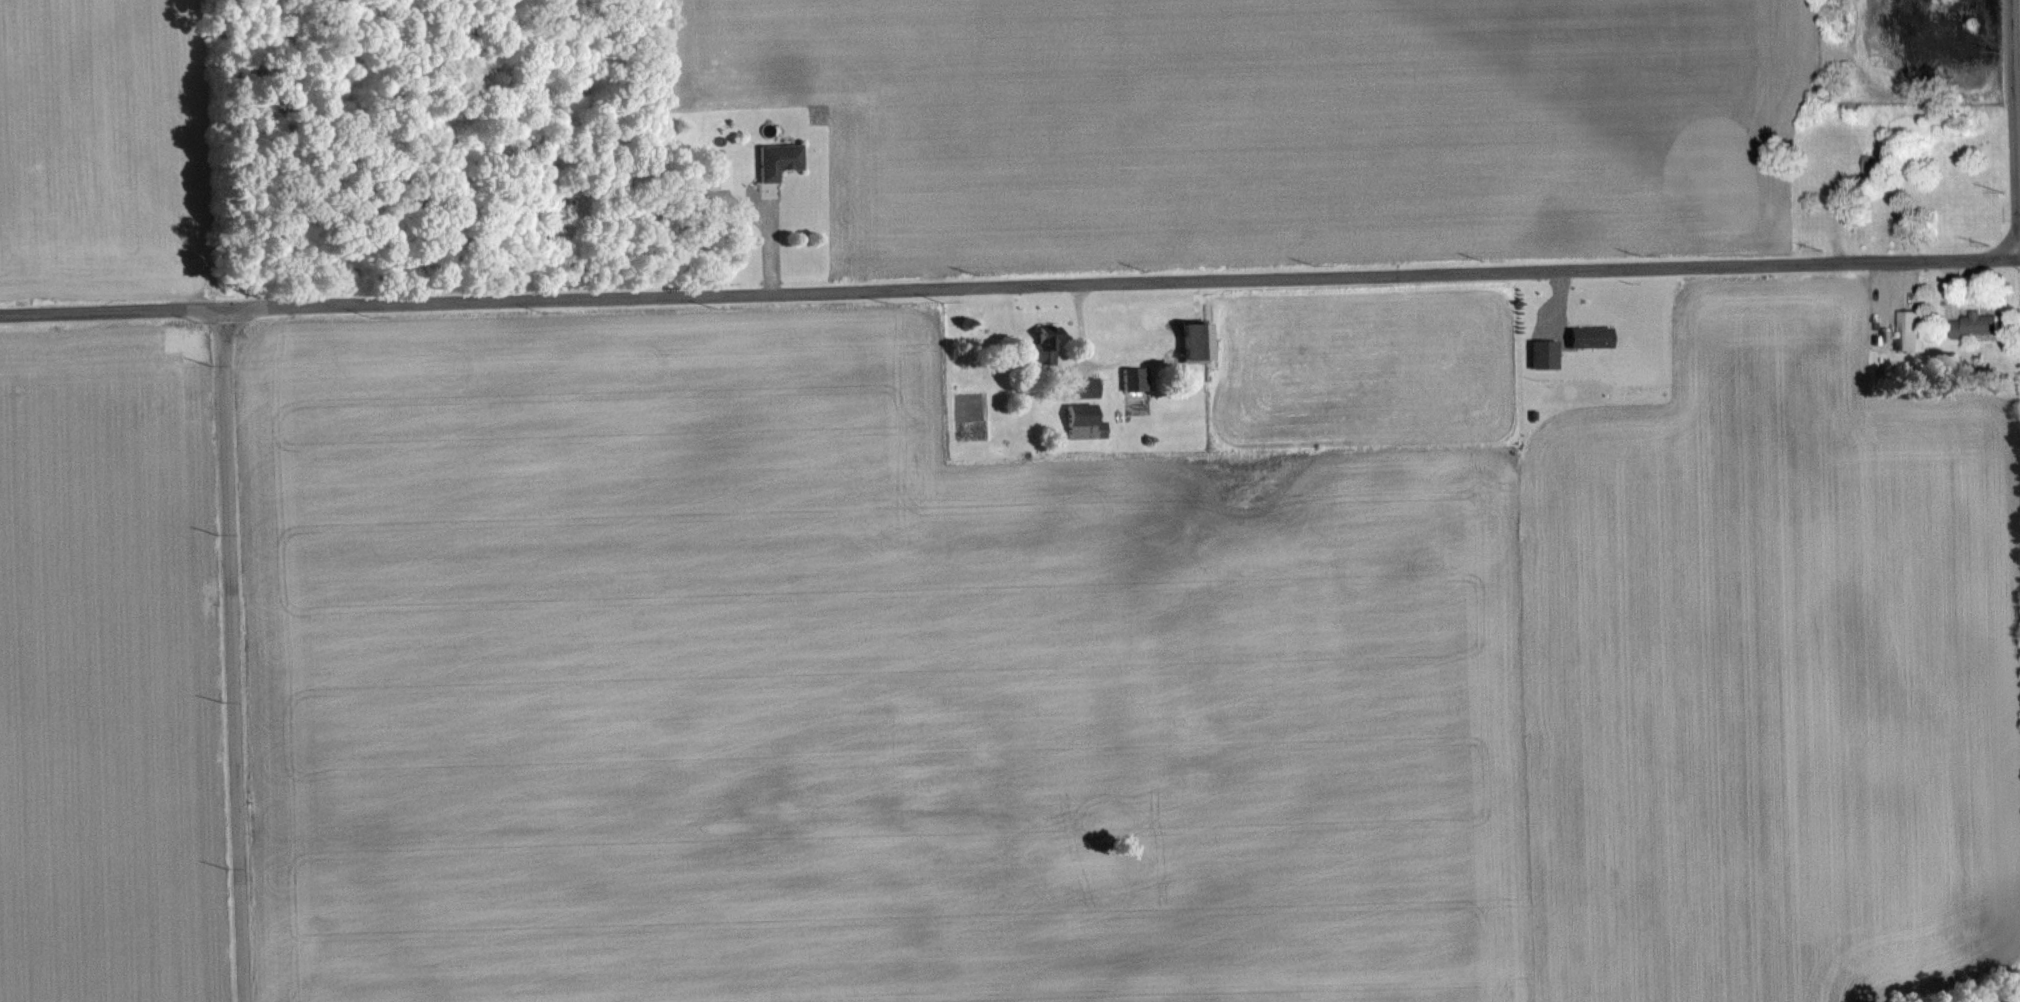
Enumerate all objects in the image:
road: (2012, 128)
building: (778, 159)
building: (1877, 161)
road: (1009, 285)
building: (1975, 324)
building: (1910, 329)
building: (1591, 335)
building: (1196, 340)
building: (1043, 346)
building: (1545, 352)
building: (1135, 377)
building: (1085, 386)
building: (1084, 421)
road: (233, 654)

